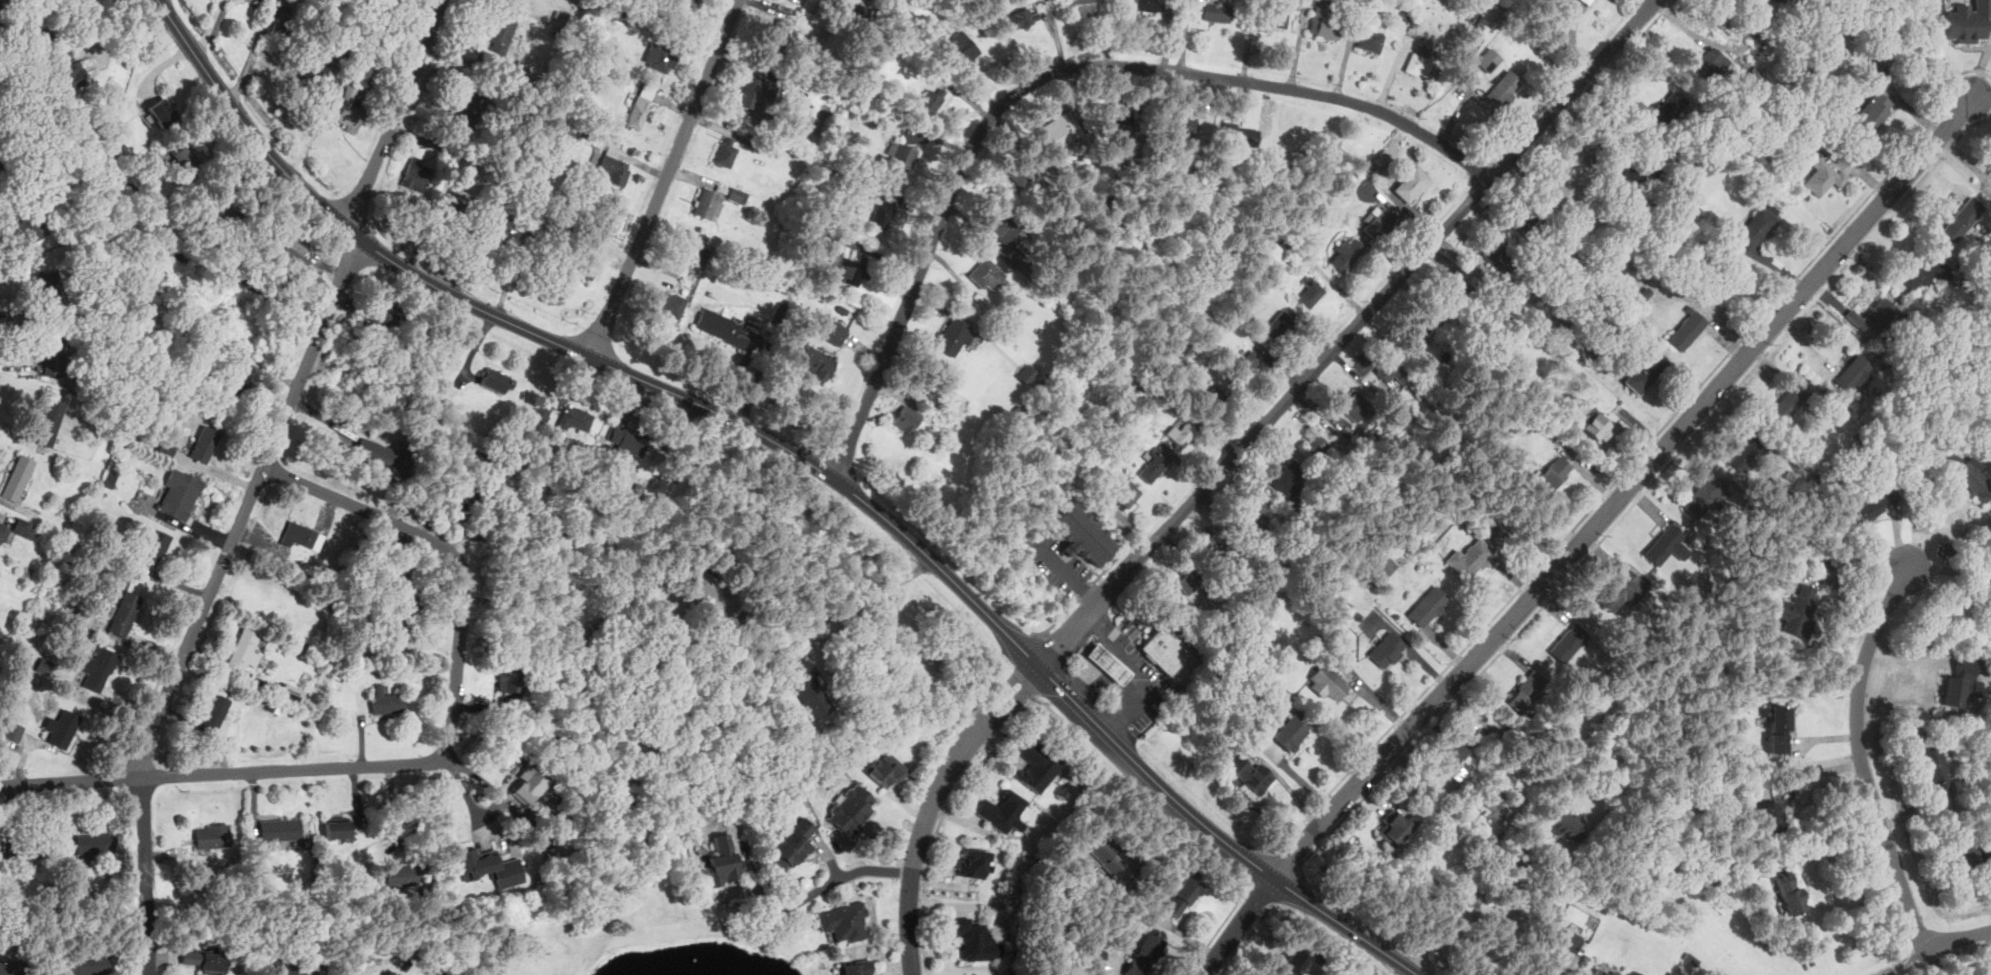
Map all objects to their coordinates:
building: (1588, 2)
building: (1, 3)
building: (1758, 3)
building: (1148, 5)
building: (682, 6)
building: (1082, 6)
building: (1215, 11)
building: (868, 12)
building: (1276, 15)
building: (1023, 17)
street lamp: (420, 20)
building: (1965, 21)
building: (1325, 26)
road: (210, 29)
building: (500, 30)
building: (777, 34)
building: (279, 35)
building: (1369, 37)
building: (959, 47)
road: (1934, 55)
road: (248, 56)
building: (338, 57)
building: (662, 58)
building: (1489, 59)
building: (1710, 63)
building: (1418, 65)
building: (1825, 67)
building: (67, 70)
building: (370, 71)
road: (1981, 71)
building: (1817, 73)
building: (1872, 74)
road: (1049, 75)
building: (308, 77)
building: (1504, 88)
building: (753, 91)
building: (931, 100)
building: (640, 105)
building: (349, 108)
building: (467, 108)
building: (1669, 108)
building: (163, 112)
building: (1873, 112)
building: (26, 122)
building: (1116, 122)
building: (1183, 125)
building: (1059, 132)
building: (1239, 135)
building: (417, 149)
building: (726, 151)
building: (904, 155)
building: (187, 158)
building: (1797, 158)
building: (614, 165)
building: (1025, 168)
building: (1, 170)
building: (1990, 171)
building: (1642, 173)
building: (416, 175)
building: (1824, 175)
road: (666, 179)
building: (1410, 182)
street lamp: (328, 187)
building: (1567, 188)
building: (738, 195)
building: (457, 202)
building: (705, 202)
building: (224, 213)
building: (881, 215)
building: (1963, 218)
building: (1376, 222)
building: (1524, 222)
building: (498, 224)
building: (26, 226)
building: (1004, 227)
building: (1755, 228)
building: (819, 232)
building: (538, 249)
building: (697, 253)
building: (1345, 254)
building: (1497, 254)
building: (295, 259)
building: (583, 265)
building: (39, 266)
building: (1921, 268)
building: (853, 270)
building: (986, 273)
building: (49, 287)
building: (1984, 289)
building: (1310, 291)
building: (1645, 293)
building: (1455, 295)
building: (668, 303)
building: (384, 316)
building: (1873, 317)
building: (721, 326)
building: (1280, 327)
building: (1686, 329)
building: (1415, 330)
building: (835, 332)
road: (1347, 332)
building: (952, 336)
road: (580, 350)
building: (1427, 350)
building: (53, 353)
building: (1929, 359)
building: (816, 362)
building: (1249, 363)
building: (1387, 367)
building: (1644, 372)
building: (1856, 372)
building: (1026, 373)
building: (88, 376)
building: (497, 380)
building: (234, 387)
building: (1215, 397)
building: (1790, 402)
building: (1356, 405)
building: (1571, 407)
building: (1831, 408)
building: (1869, 415)
building: (538, 416)
building: (574, 418)
building: (906, 419)
building: (49, 423)
building: (1599, 426)
building: (1180, 432)
building: (627, 439)
building: (204, 443)
building: (1320, 446)
building: (166, 448)
building: (1874, 448)
building: (1742, 453)
building: (379, 455)
road: (1635, 457)
building: (1154, 465)
building: (1555, 472)
building: (1964, 474)
building: (18, 477)
building: (1290, 477)
road: (257, 481)
road: (1646, 489)
building: (461, 492)
building: (179, 494)
building: (1127, 494)
building: (1704, 495)
building: (1872, 502)
building: (1254, 510)
building: (26, 527)
building: (3, 532)
building: (299, 532)
building: (1082, 533)
road: (1587, 536)
road: (1944, 536)
building: (1667, 544)
building: (154, 547)
building: (1220, 549)
road: (1079, 555)
road: (1059, 557)
building: (1469, 558)
parking lot: (1057, 563)
road: (1111, 563)
road: (1096, 565)
building: (1386, 566)
road: (1064, 568)
building: (1187, 583)
building: (713, 590)
road: (1085, 590)
building: (1622, 590)
building: (404, 592)
road: (852, 604)
building: (1428, 606)
building: (1798, 609)
building: (124, 613)
building: (1988, 614)
road: (1058, 619)
building: (1331, 630)
road: (1046, 632)
building: (1569, 641)
building: (1167, 649)
building: (244, 650)
building: (1387, 650)
building: (1109, 663)
gas station: (1109, 663)
building: (98, 668)
building: (1326, 679)
building: (507, 681)
building: (1962, 682)
road: (1077, 684)
building: (810, 688)
road: (1033, 691)
building: (1527, 691)
building: (291, 692)
road: (996, 696)
road: (1037, 697)
building: (386, 700)
road: (1136, 701)
road: (1010, 708)
building: (217, 717)
road: (1121, 722)
building: (62, 727)
building: (1778, 728)
building: (13, 730)
building: (1291, 732)
building: (1453, 757)
road: (1860, 757)
road: (429, 763)
building: (1036, 767)
building: (886, 768)
road: (967, 770)
building: (1934, 771)
building: (1248, 772)
road: (1805, 773)
building: (530, 786)
building: (1493, 802)
road: (394, 807)
building: (850, 809)
building: (1001, 811)
building: (1769, 816)
building: (1567, 826)
building: (337, 827)
building: (1395, 827)
building: (280, 828)
road: (1217, 834)
building: (211, 835)
road: (1837, 842)
building: (792, 843)
building: (94, 844)
building: (20, 847)
building: (561, 847)
road: (1276, 850)
road: (916, 852)
building: (1099, 854)
building: (1966, 854)
road: (1289, 859)
building: (722, 864)
building: (973, 864)
building: (490, 867)
building: (400, 875)
road: (843, 877)
road: (1247, 879)
road: (1248, 884)
building: (1789, 891)
road: (1263, 892)
building: (1183, 896)
road: (1461, 912)
building: (844, 922)
road: (1222, 924)
road: (1248, 936)
building: (1564, 938)
road: (1959, 938)
building: (974, 939)
building: (1095, 953)
building: (1143, 955)
building: (207, 961)
building: (1294, 961)
building: (85, 964)
road: (1569, 965)
building: (855, 967)
building: (9, 968)
building: (289, 969)
building: (1603, 970)
road: (1406, 971)
building: (1303, 972)
building: (1633, 972)
building: (1671, 973)

